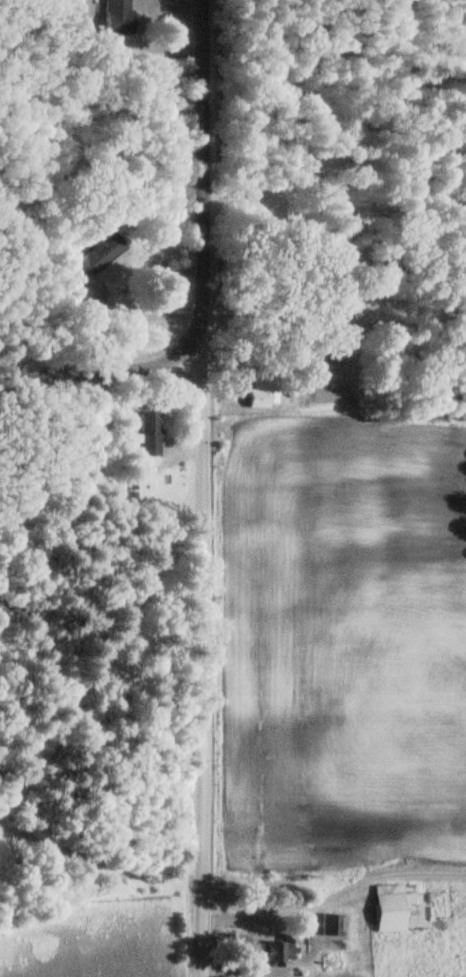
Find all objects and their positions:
road: (192, 179)
building: (106, 247)
road: (97, 369)
building: (257, 393)
building: (143, 440)
road: (195, 667)
road: (332, 890)
building: (381, 908)

